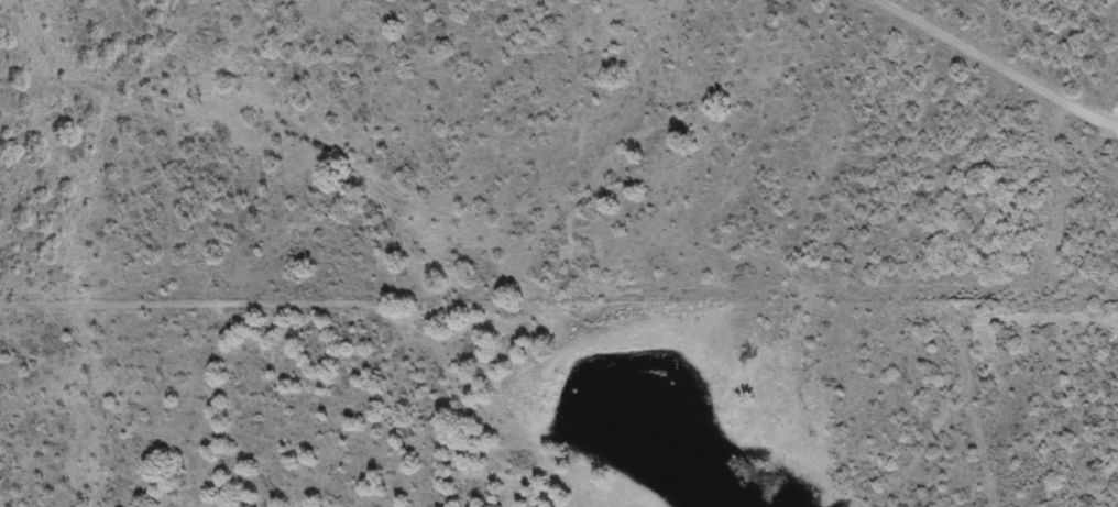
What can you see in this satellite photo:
road: (993, 71)

